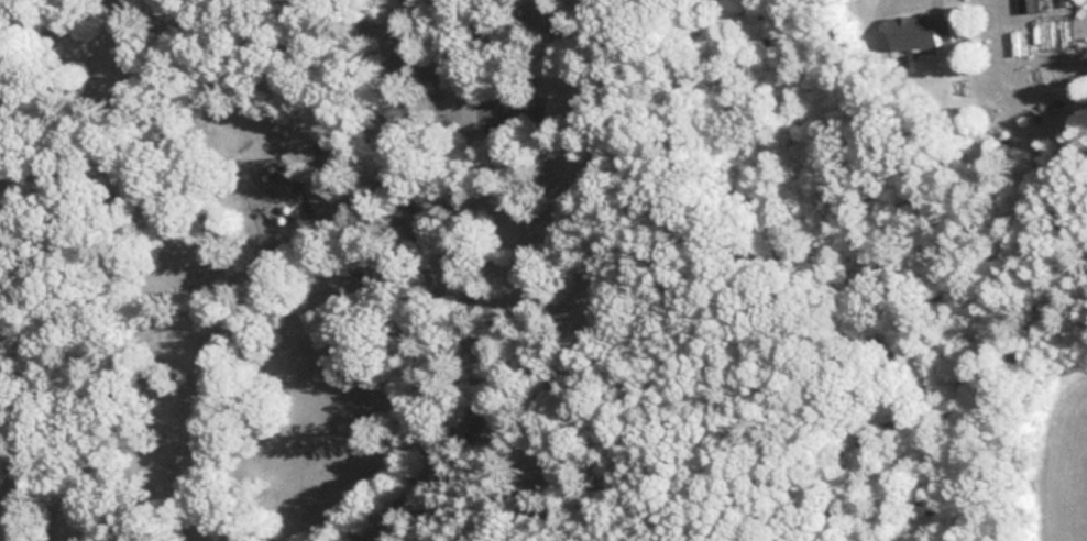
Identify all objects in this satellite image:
building: (1029, 5)
building: (919, 31)
road: (457, 276)
park: (491, 280)

